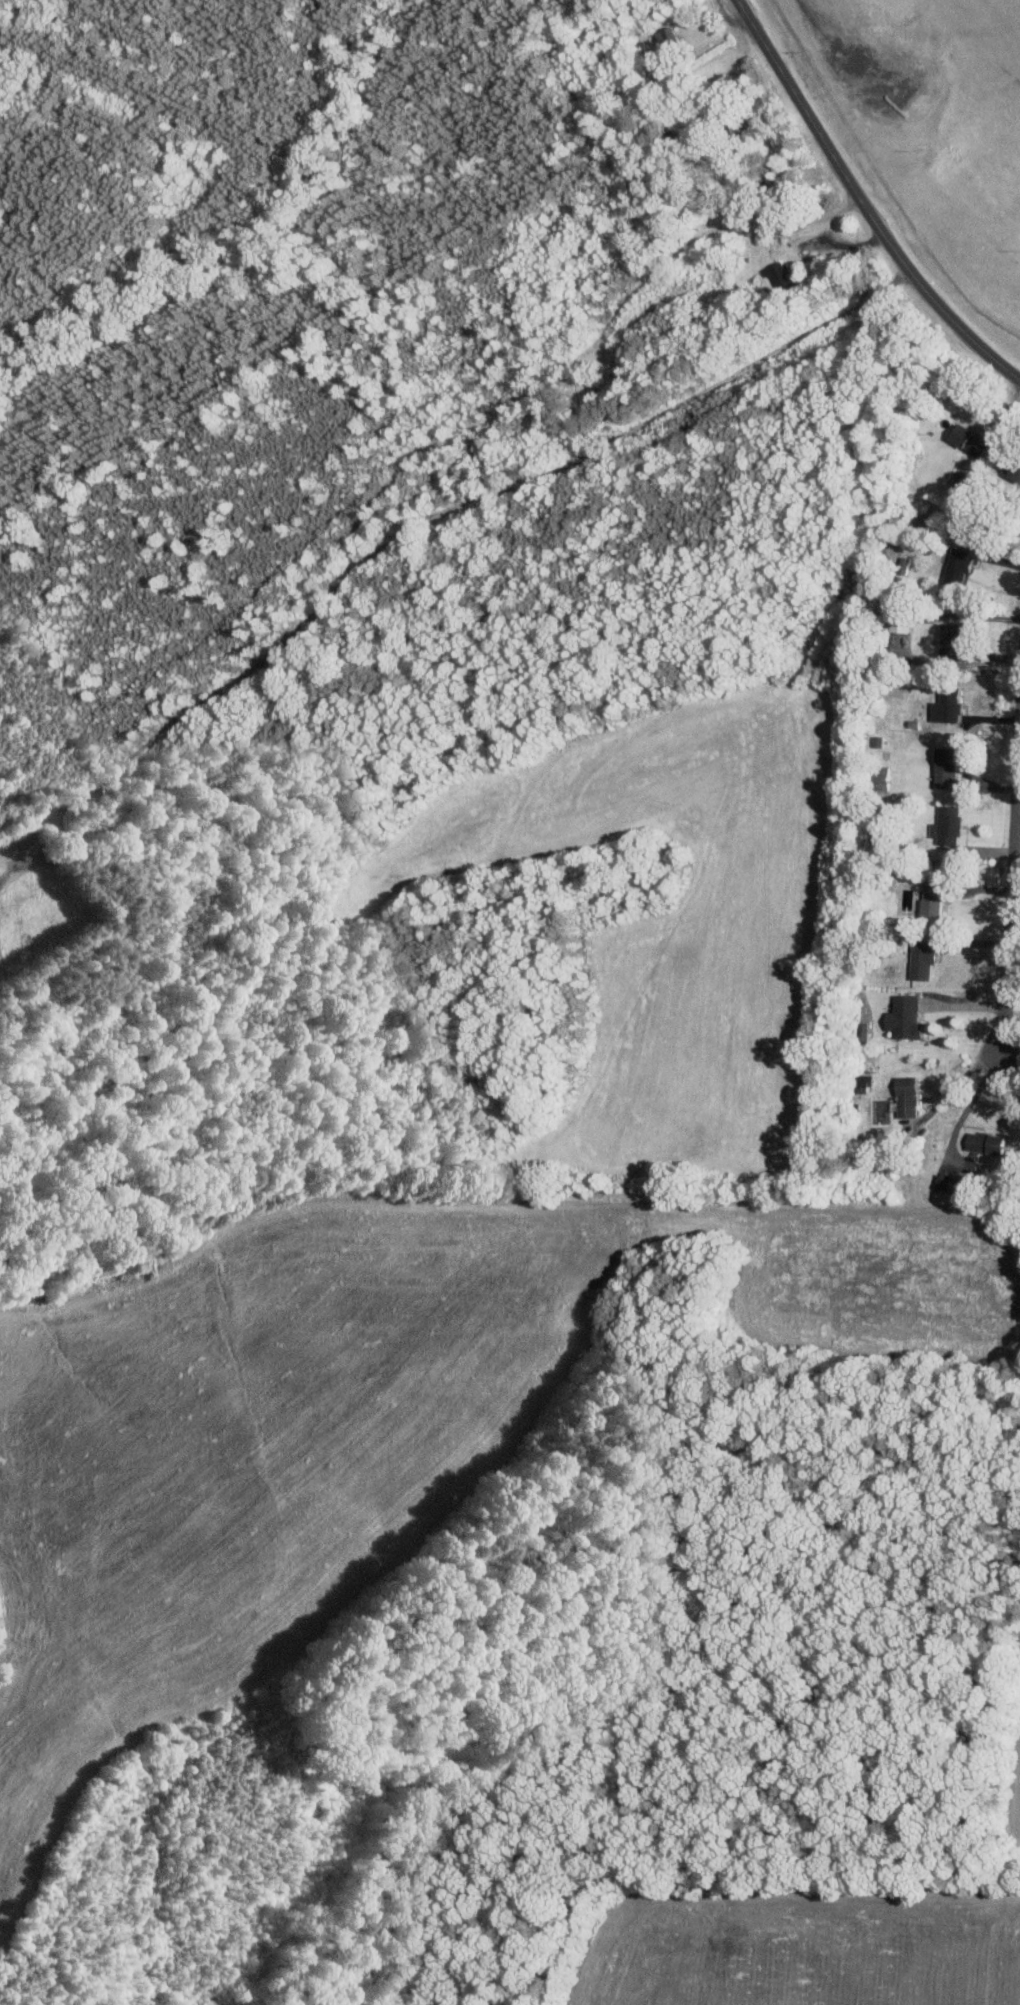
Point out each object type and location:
building: (667, 38)
road: (861, 203)
road: (835, 242)
building: (970, 439)
building: (1016, 469)
building: (956, 564)
building: (950, 640)
building: (947, 705)
building: (946, 767)
building: (948, 825)
road: (1011, 887)
building: (934, 898)
building: (922, 959)
building: (905, 1017)
building: (864, 1031)
road: (1011, 1058)
road: (963, 1079)
building: (862, 1083)
building: (908, 1096)
road: (968, 1104)
building: (987, 1142)
building: (948, 1184)

